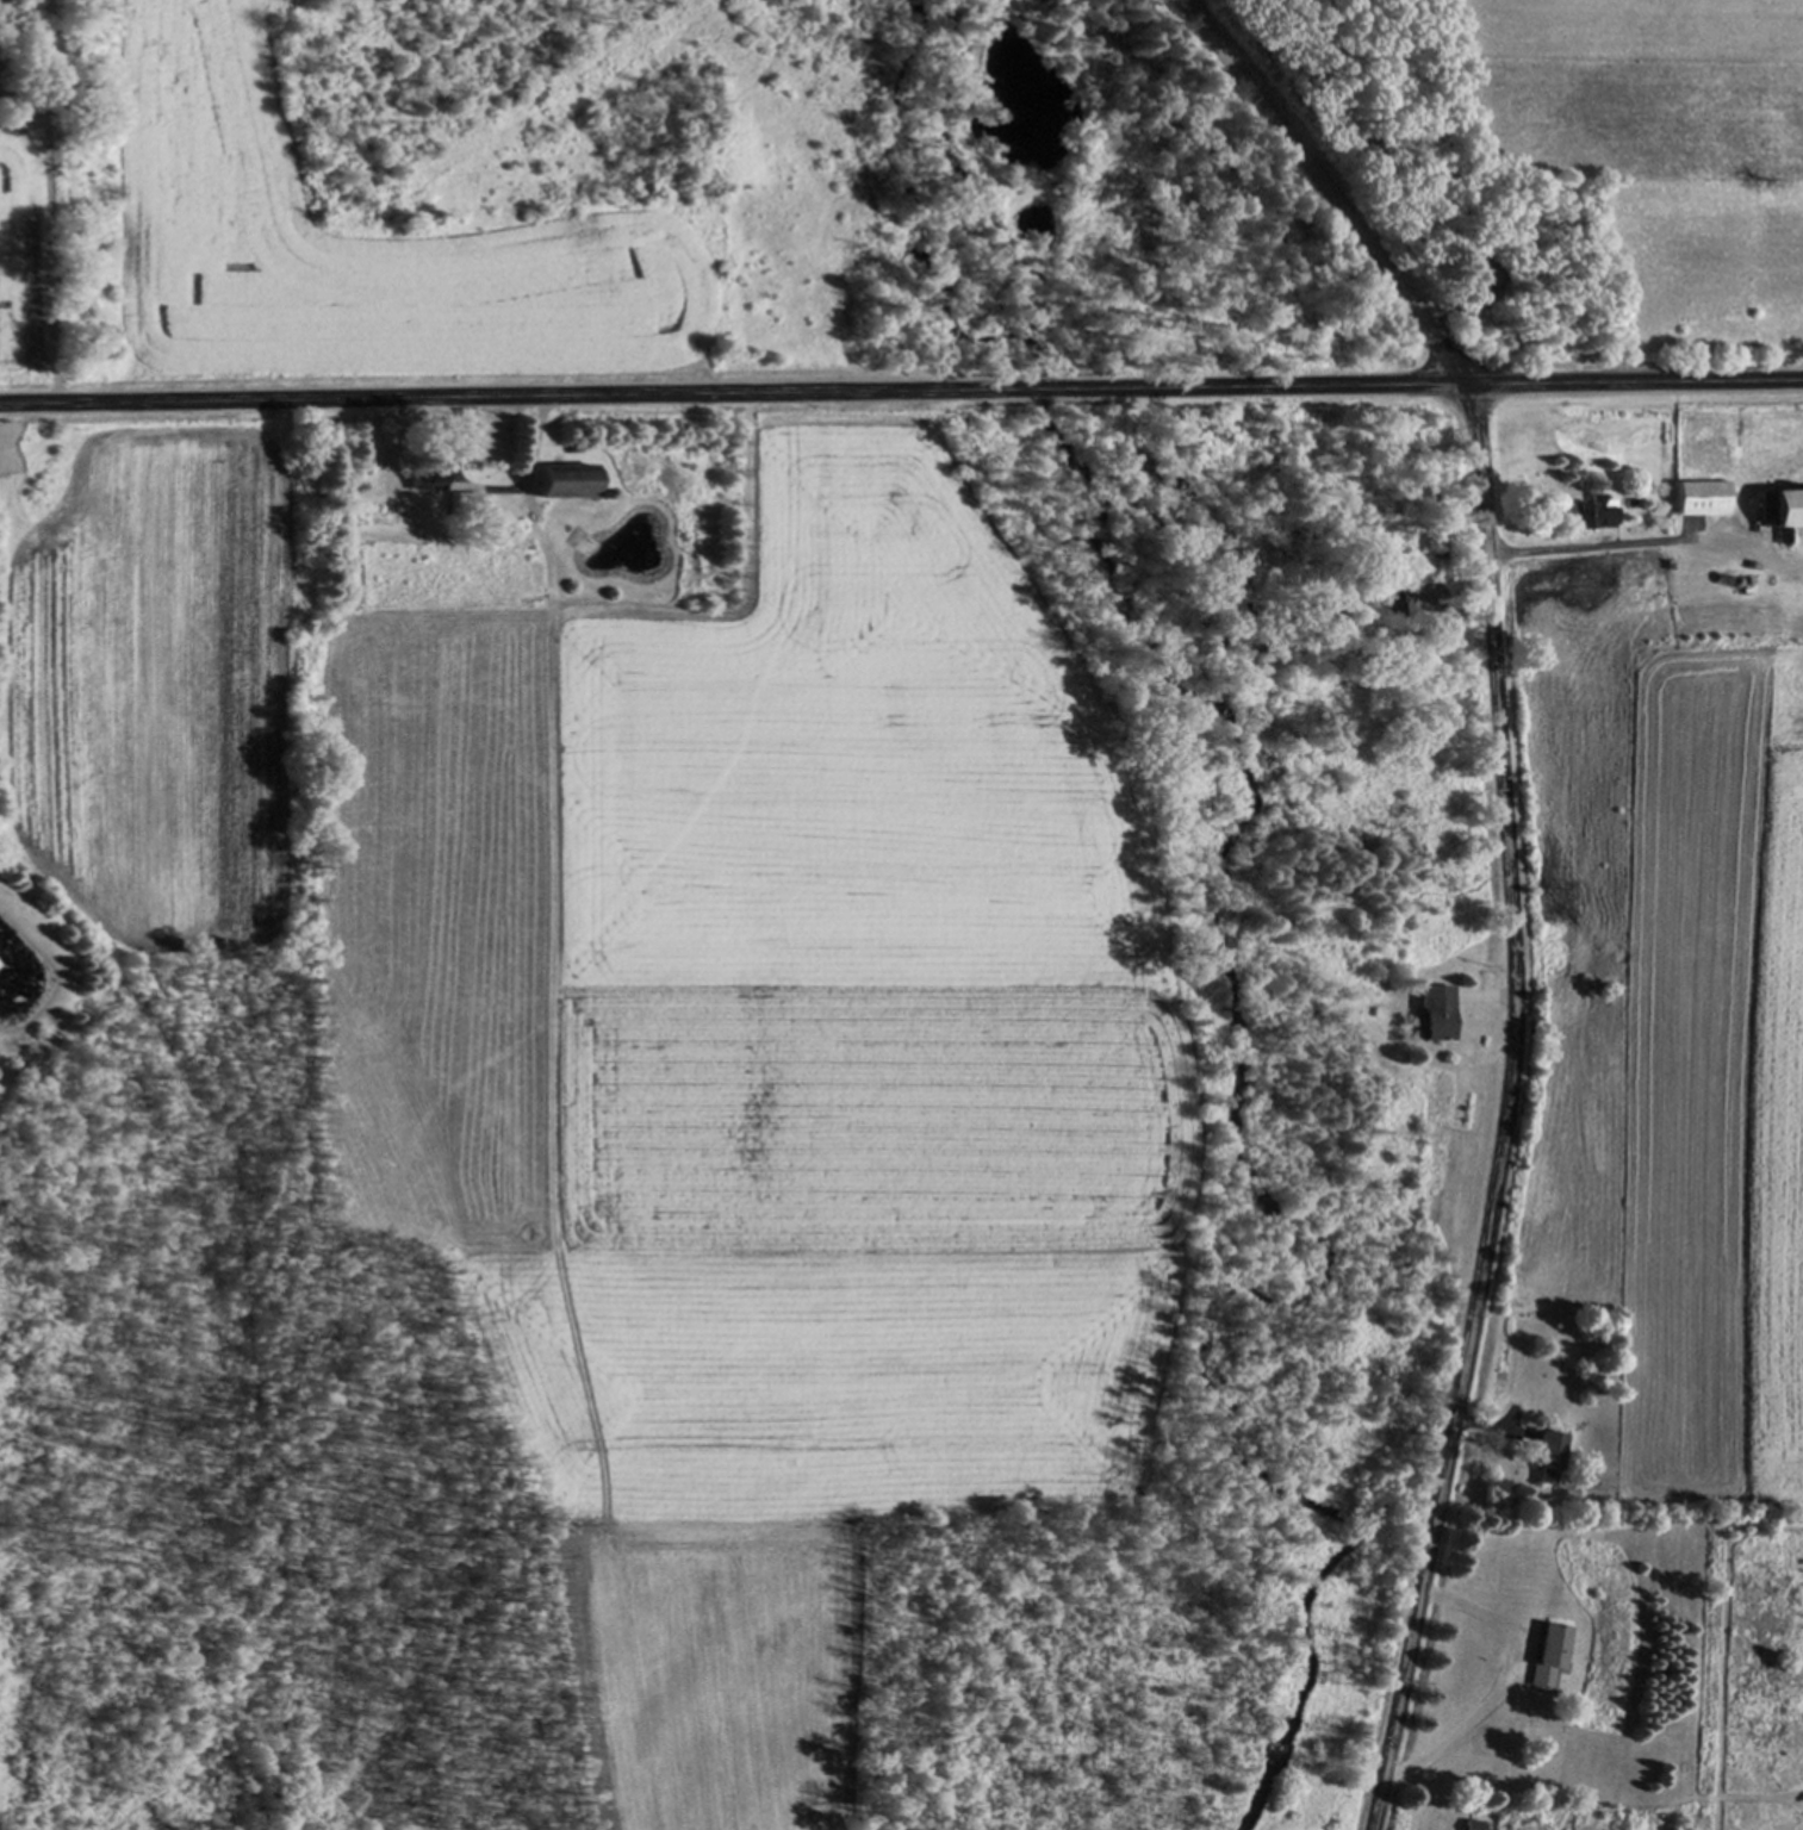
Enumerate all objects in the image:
road: (901, 393)
building: (429, 477)
building: (564, 483)
building: (1704, 500)
building: (465, 505)
building: (1786, 511)
building: (509, 512)
building: (1594, 515)
road: (68, 724)
road: (1511, 872)
building: (1437, 1014)
building: (1555, 1461)
building: (1555, 1657)
building: (1478, 1825)

